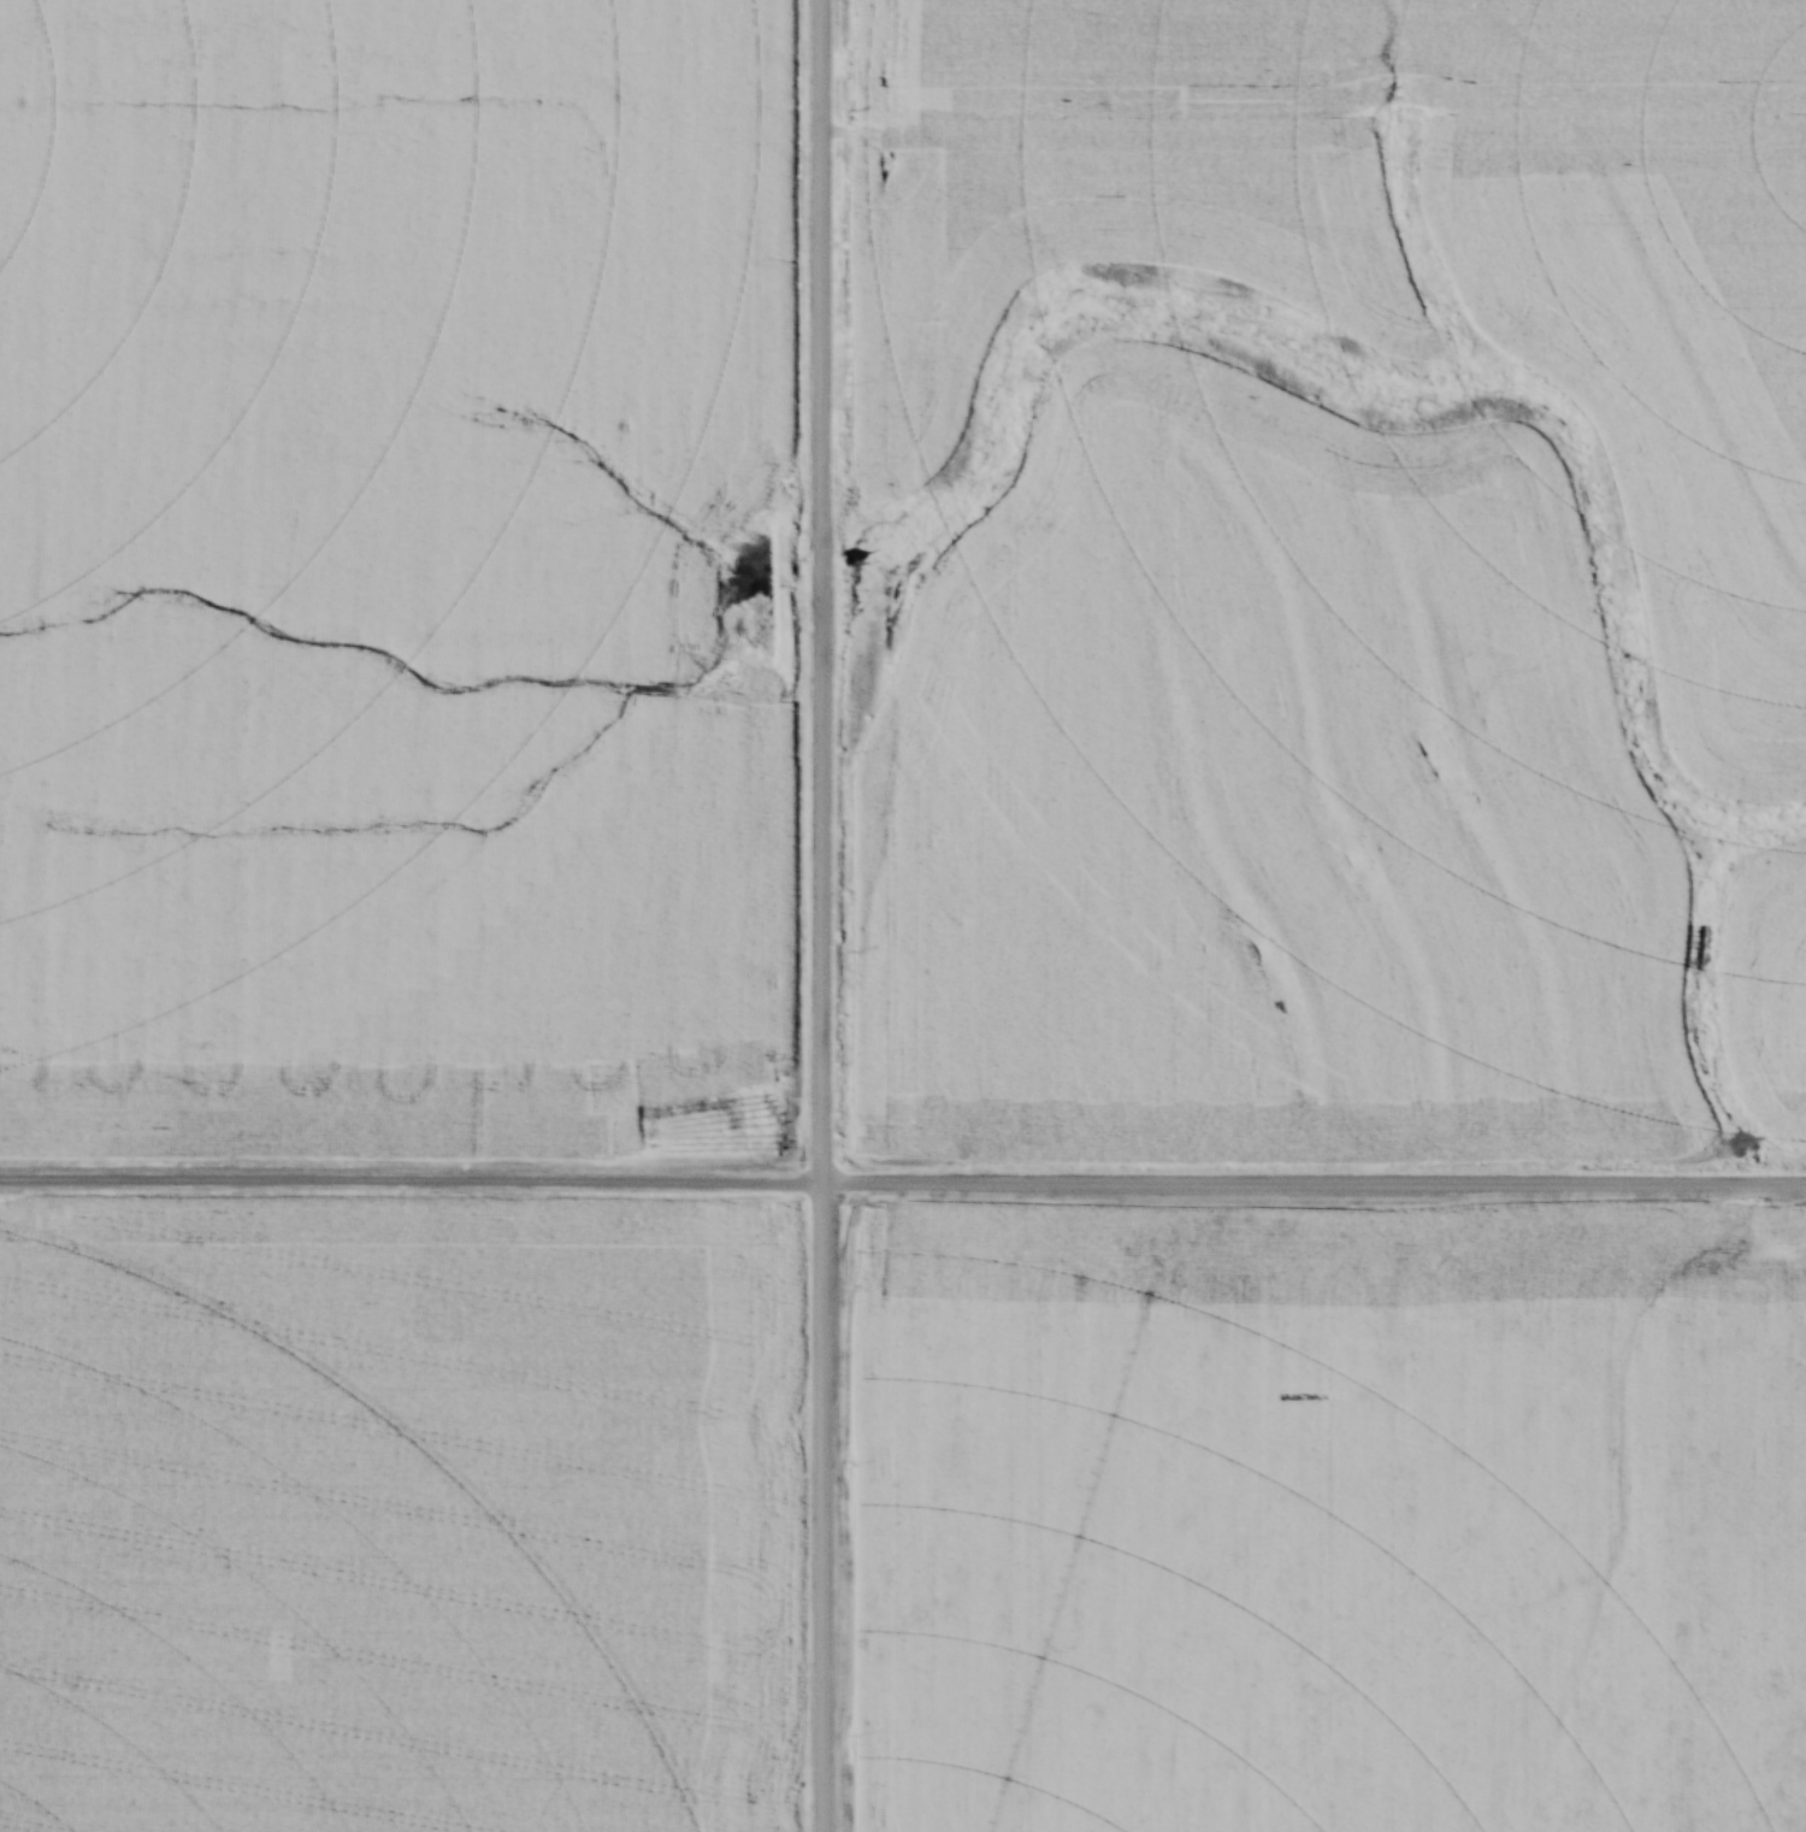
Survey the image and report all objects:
road: (822, 915)
road: (902, 1180)

